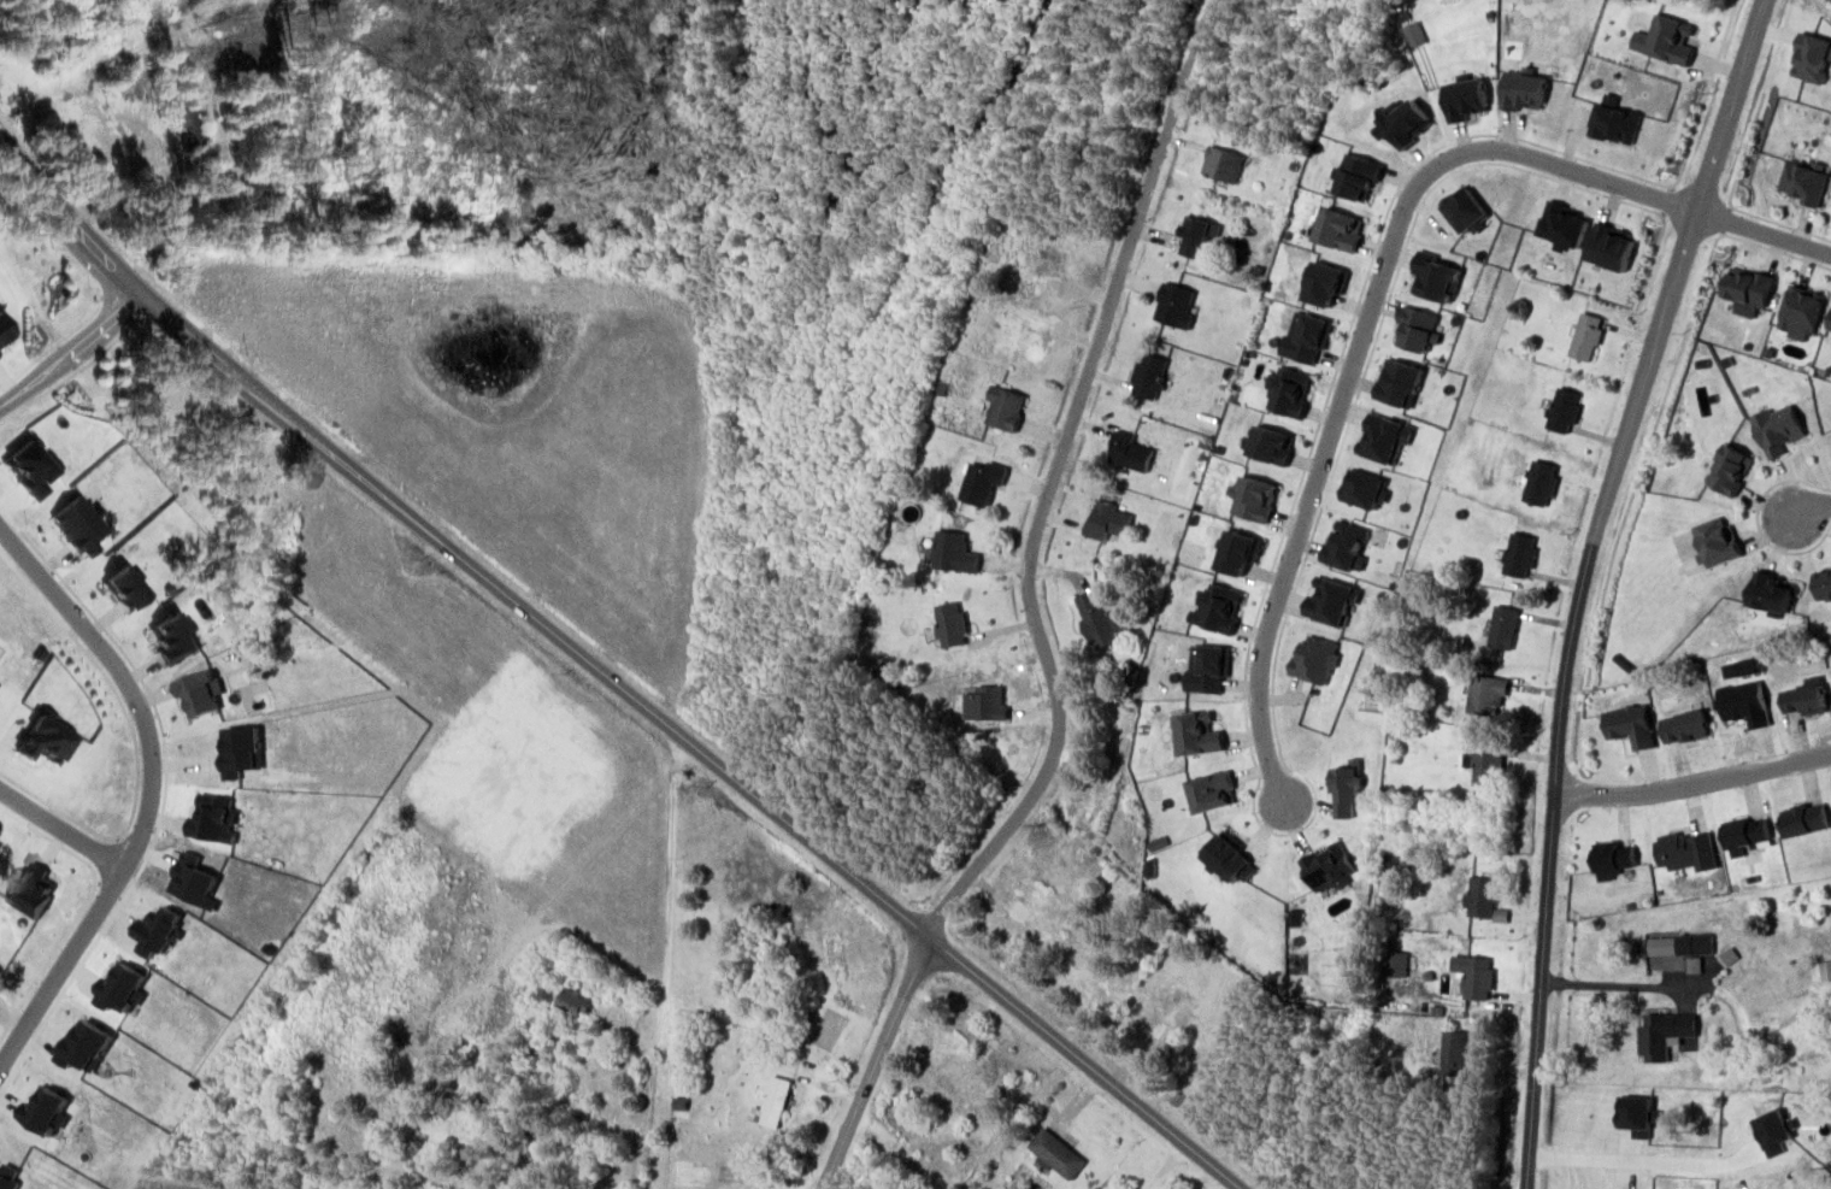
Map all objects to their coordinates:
building: (1413, 33)
building: (1665, 39)
building: (1811, 57)
building: (1523, 89)
building: (1465, 98)
building: (1614, 120)
building: (1406, 122)
building: (1223, 163)
building: (1358, 176)
building: (1802, 182)
building: (1465, 208)
building: (1562, 224)
building: (1338, 229)
road: (1764, 232)
building: (1196, 235)
building: (1611, 245)
building: (1052, 264)
building: (1325, 282)
building: (1748, 286)
building: (1176, 305)
building: (1800, 312)
building: (1418, 328)
building: (1830, 328)
building: (5, 332)
building: (1585, 335)
building: (1029, 336)
building: (1306, 336)
road: (67, 343)
road: (1358, 346)
building: (1149, 375)
building: (1399, 382)
building: (1289, 392)
building: (1005, 406)
building: (1562, 408)
building: (1777, 428)
building: (1383, 436)
building: (1271, 443)
building: (1130, 451)
building: (1729, 469)
building: (982, 481)
building: (1364, 488)
building: (1253, 498)
road: (1812, 510)
building: (1108, 517)
building: (78, 525)
building: (1717, 541)
building: (1346, 545)
building: (953, 551)
building: (1237, 551)
building: (1519, 553)
road: (1582, 582)
building: (1824, 583)
building: (124, 588)
building: (1771, 593)
building: (1327, 600)
building: (1217, 607)
building: (1100, 616)
building: (950, 623)
building: (1503, 626)
building: (173, 637)
road: (1043, 653)
building: (1314, 658)
building: (1208, 669)
road: (606, 675)
building: (198, 690)
building: (1485, 693)
building: (1806, 696)
building: (985, 702)
building: (1744, 702)
building: (1630, 724)
building: (1684, 725)
building: (1195, 732)
building: (46, 738)
building: (239, 748)
building: (1486, 766)
road: (147, 782)
road: (1692, 782)
building: (1346, 787)
building: (1212, 790)
building: (212, 818)
building: (1804, 818)
road: (63, 822)
building: (1744, 834)
building: (1156, 842)
building: (1686, 850)
building: (1227, 857)
building: (1612, 858)
building: (1327, 866)
building: (192, 879)
road: (669, 883)
building: (31, 889)
building: (1480, 895)
building: (1031, 911)
building: (153, 930)
building: (1694, 943)
building: (1661, 944)
building: (1395, 963)
building: (1090, 966)
building: (1821, 969)
building: (1474, 975)
road: (1612, 984)
building: (119, 985)
building: (573, 1000)
building: (1154, 1011)
building: (1178, 1016)
building: (1665, 1034)
building: (83, 1043)
building: (1454, 1050)
building: (964, 1077)
building: (772, 1102)
building: (43, 1108)
building: (1055, 1152)
road: (1637, 1159)
building: (7, 1176)

